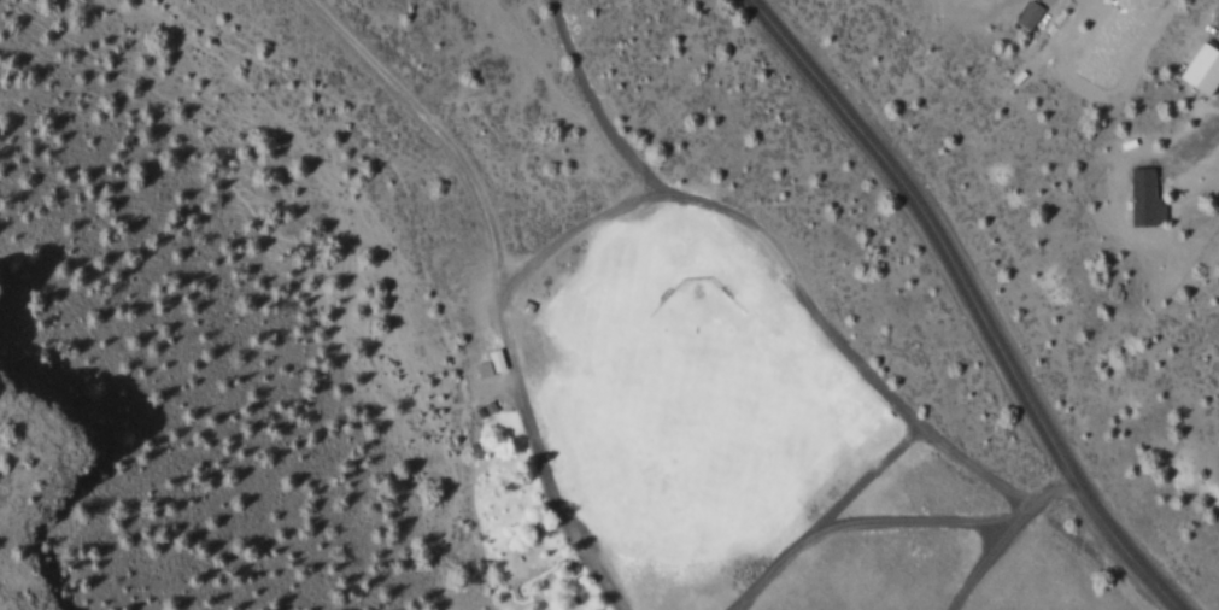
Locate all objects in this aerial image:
building: (1027, 14)
building: (1200, 68)
building: (1142, 198)
road: (968, 298)

